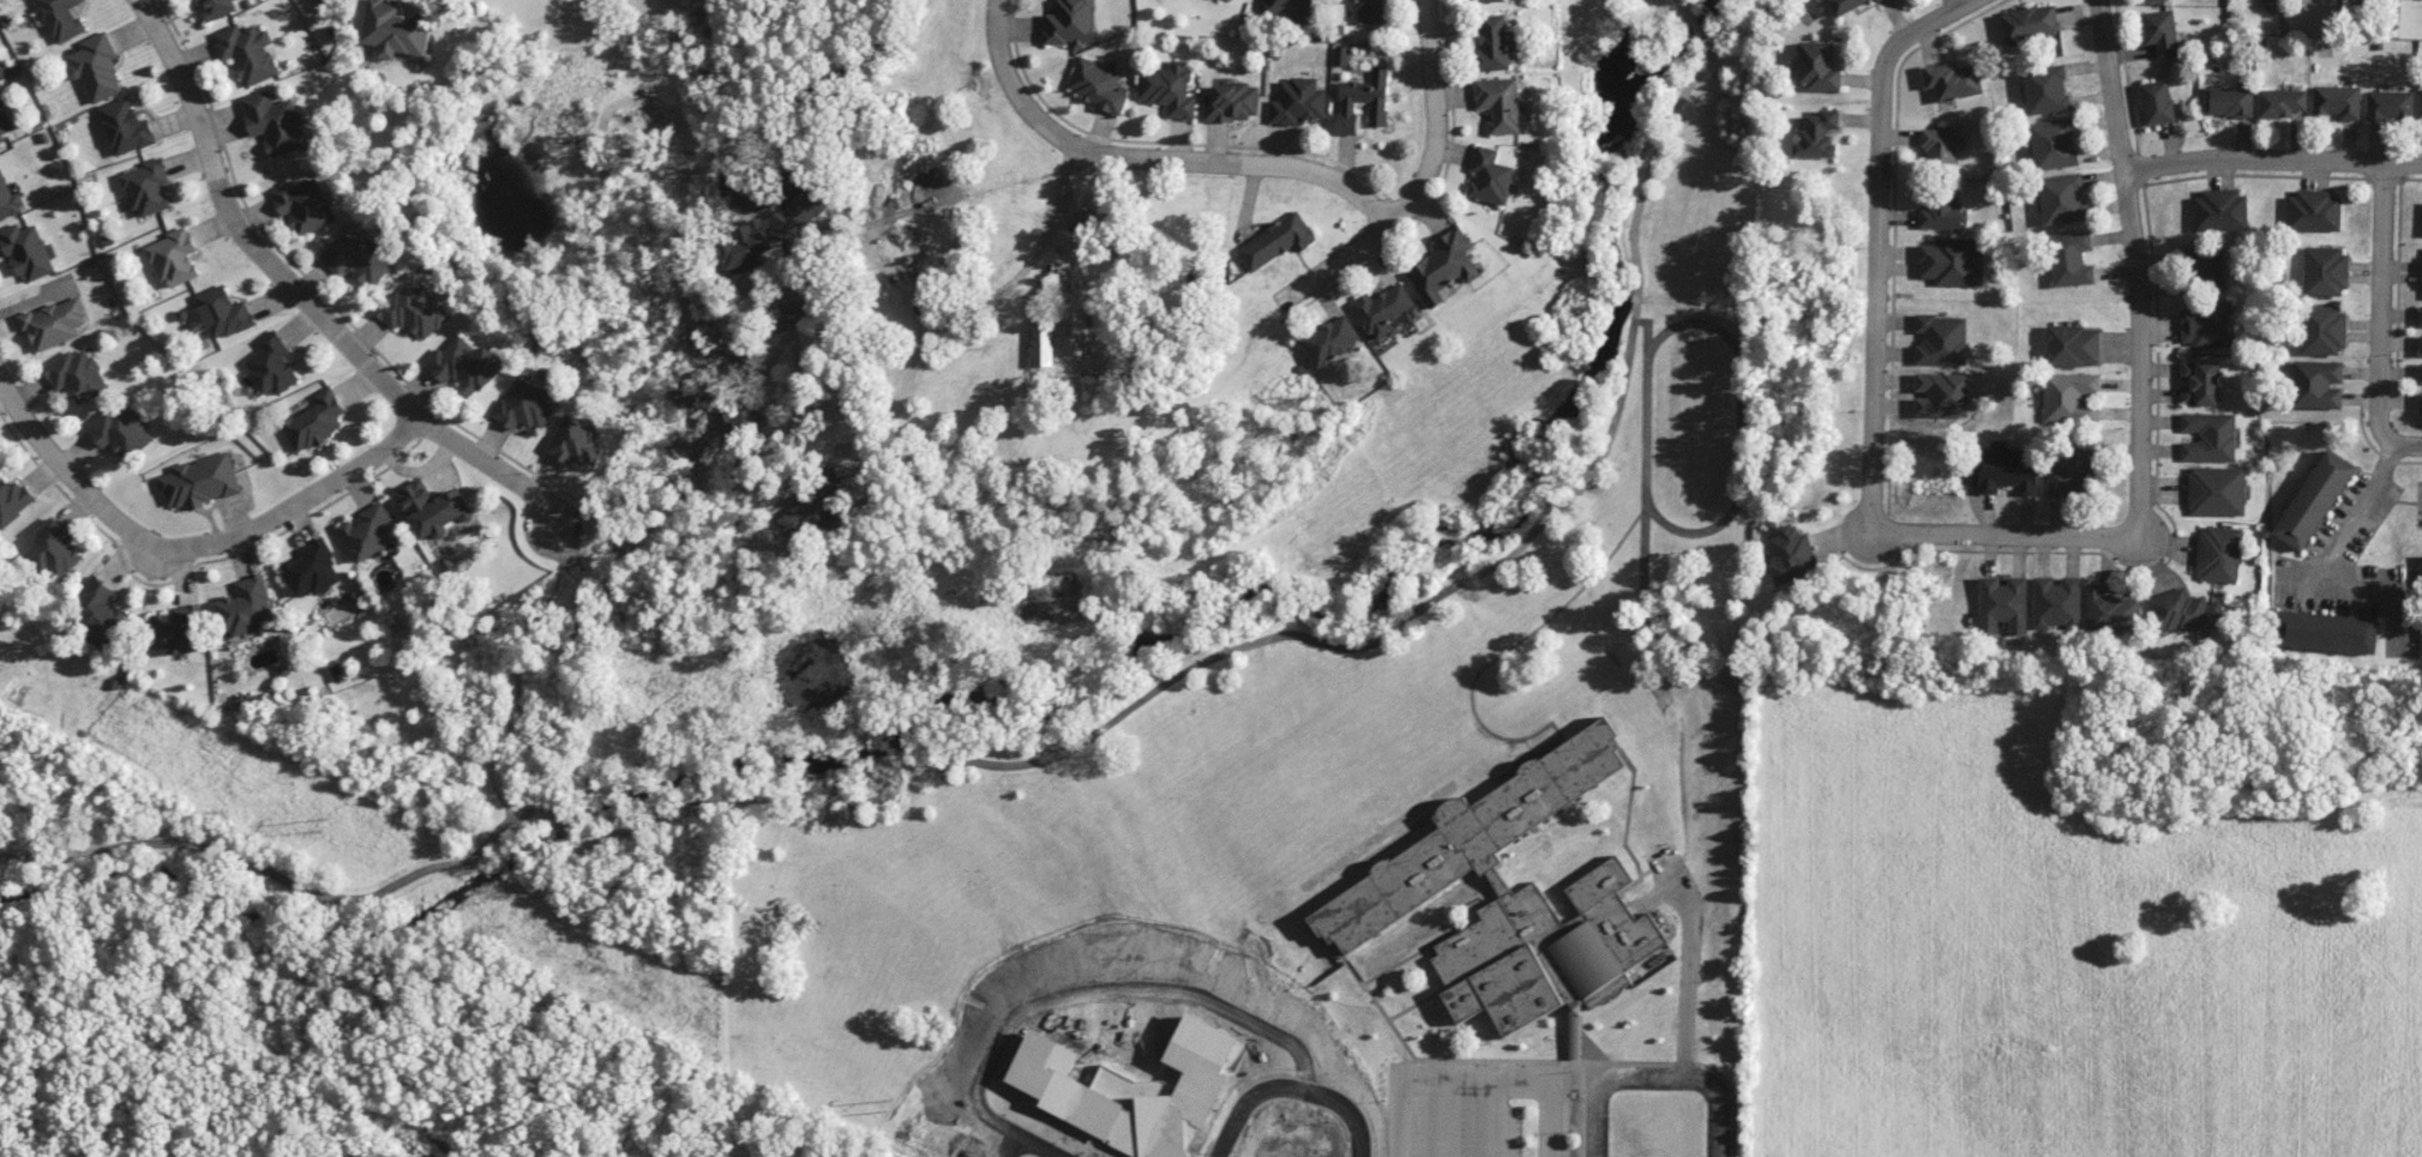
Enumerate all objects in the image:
building: (1485, 0)
building: (1877, 0)
building: (2312, 0)
building: (1225, 1)
building: (327, 4)
building: (1845, 5)
building: (217, 7)
building: (1291, 10)
building: (1370, 11)
building: (60, 18)
building: (1071, 23)
road: (1928, 23)
building: (2030, 24)
building: (393, 30)
building: (2160, 32)
building: (1492, 43)
building: (247, 52)
building: (1817, 66)
building: (95, 67)
road: (1004, 76)
building: (1953, 80)
building: (1096, 85)
building: (1168, 89)
building: (2045, 90)
building: (1362, 101)
building: (2337, 101)
building: (1232, 102)
building: (1297, 102)
building: (2156, 102)
building: (2231, 102)
building: (2282, 102)
building: (2421, 102)
building: (1500, 103)
building: (2390, 104)
building: (275, 122)
building: (4, 123)
building: (125, 127)
building: (1817, 134)
building: (2054, 144)
building: (1943, 146)
road: (2272, 158)
road: (1231, 161)
building: (1490, 176)
building: (146, 187)
road: (1422, 188)
building: (2063, 198)
building: (8, 199)
building: (303, 205)
road: (753, 210)
building: (2220, 210)
building: (2314, 211)
building: (1942, 213)
building: (1275, 241)
building: (26, 251)
building: (355, 255)
building: (174, 258)
building: (2071, 259)
building: (1953, 261)
building: (1444, 266)
road: (2136, 267)
building: (2206, 269)
building: (2325, 271)
road: (2380, 289)
road: (1876, 294)
road: (302, 301)
building: (1384, 309)
building: (411, 311)
building: (223, 313)
building: (2421, 315)
building: (54, 323)
building: (2206, 325)
building: (2322, 330)
building: (1330, 339)
building: (1942, 339)
building: (2420, 344)
building: (2072, 345)
building: (1041, 347)
building: (271, 364)
building: (462, 366)
building: (2420, 373)
building: (77, 375)
building: (2200, 382)
building: (2318, 384)
building: (1941, 394)
building: (2071, 397)
building: (2420, 402)
building: (525, 404)
building: (314, 421)
building: (121, 429)
building: (2208, 436)
building: (575, 441)
road: (2391, 441)
building: (2006, 469)
building: (2071, 470)
building: (200, 481)
building: (2217, 490)
building: (2314, 499)
building: (13, 500)
building: (433, 508)
building: (804, 513)
building: (367, 531)
road: (2005, 536)
road: (2336, 546)
road: (188, 548)
building: (54, 552)
building: (1792, 554)
building: (2219, 554)
building: (312, 570)
building: (2056, 602)
building: (2002, 603)
building: (246, 607)
building: (2111, 610)
building: (2184, 611)
building: (102, 613)
building: (178, 629)
building: (2326, 632)
road: (516, 676)
road: (1064, 752)
power tower: (320, 826)
building: (1510, 898)
road: (1516, 1077)
power tower: (887, 1108)
road: (1394, 1109)

